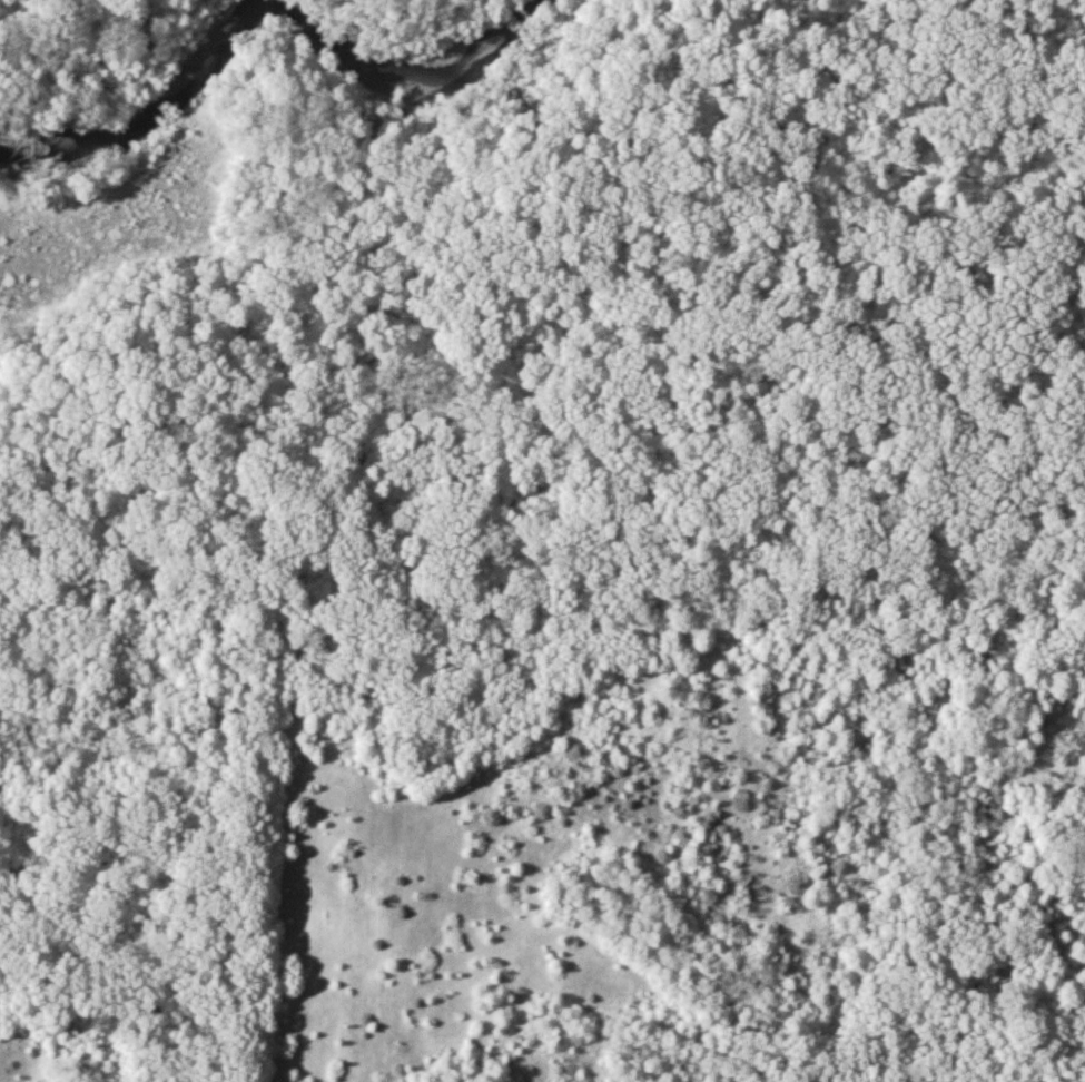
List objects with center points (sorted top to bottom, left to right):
river: (263, 3)

